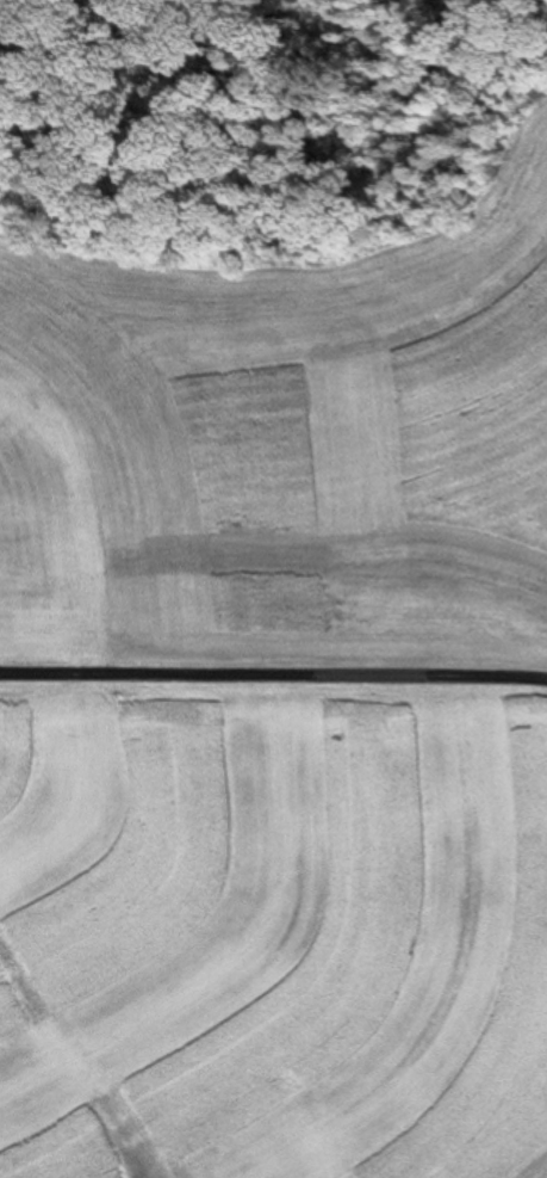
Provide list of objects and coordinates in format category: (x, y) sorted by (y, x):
road: (273, 679)

